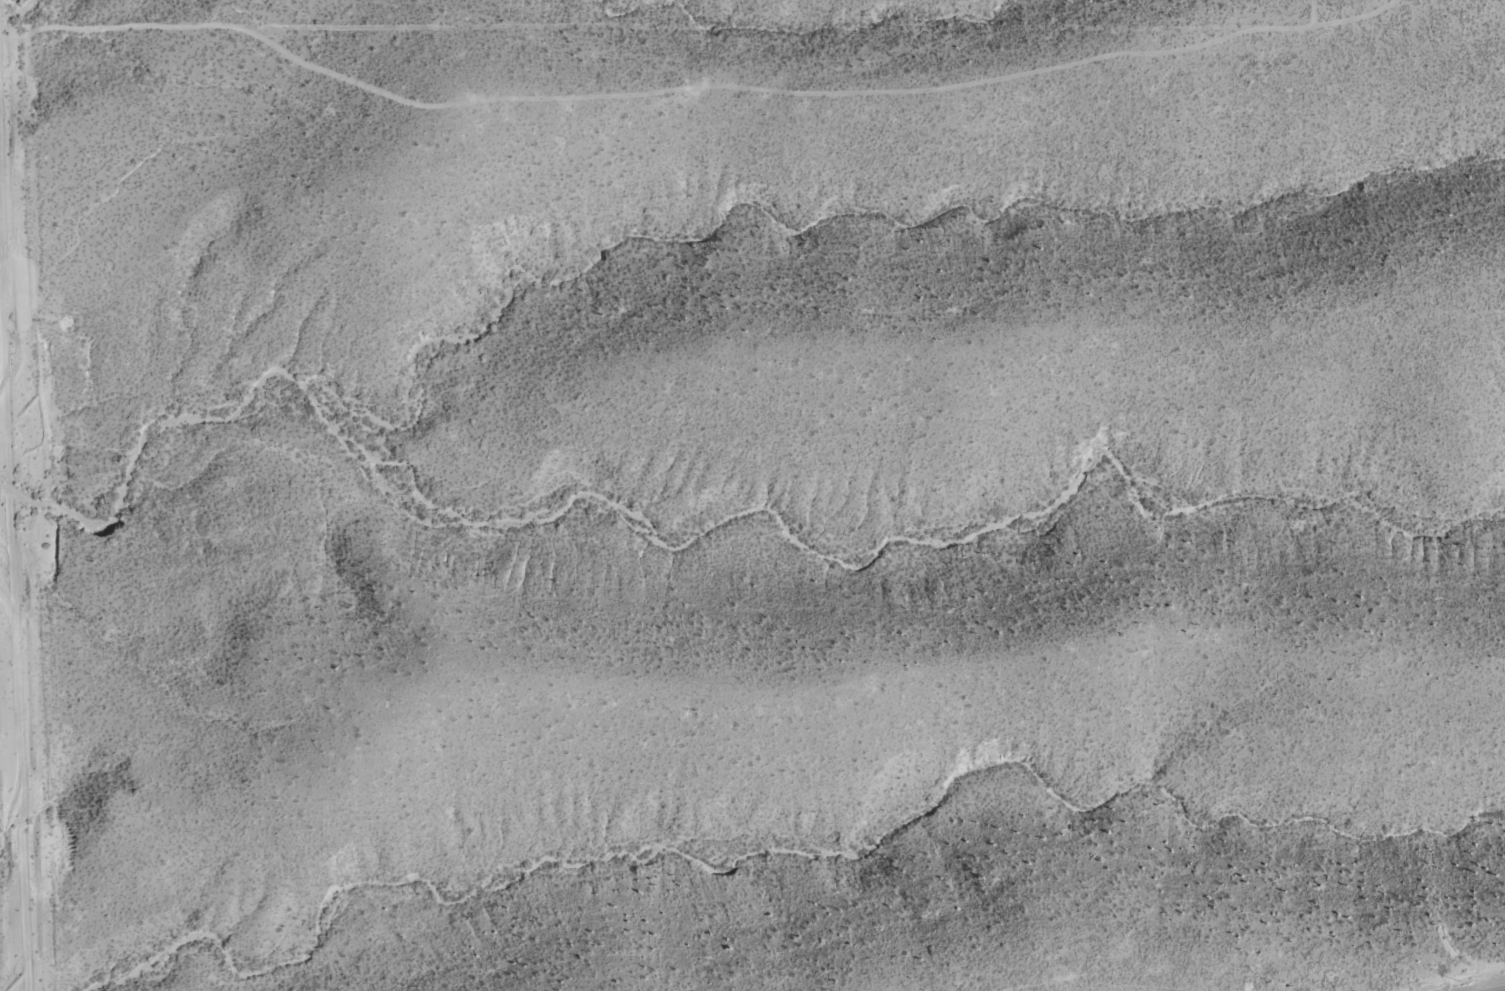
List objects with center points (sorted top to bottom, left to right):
road: (14, 567)

